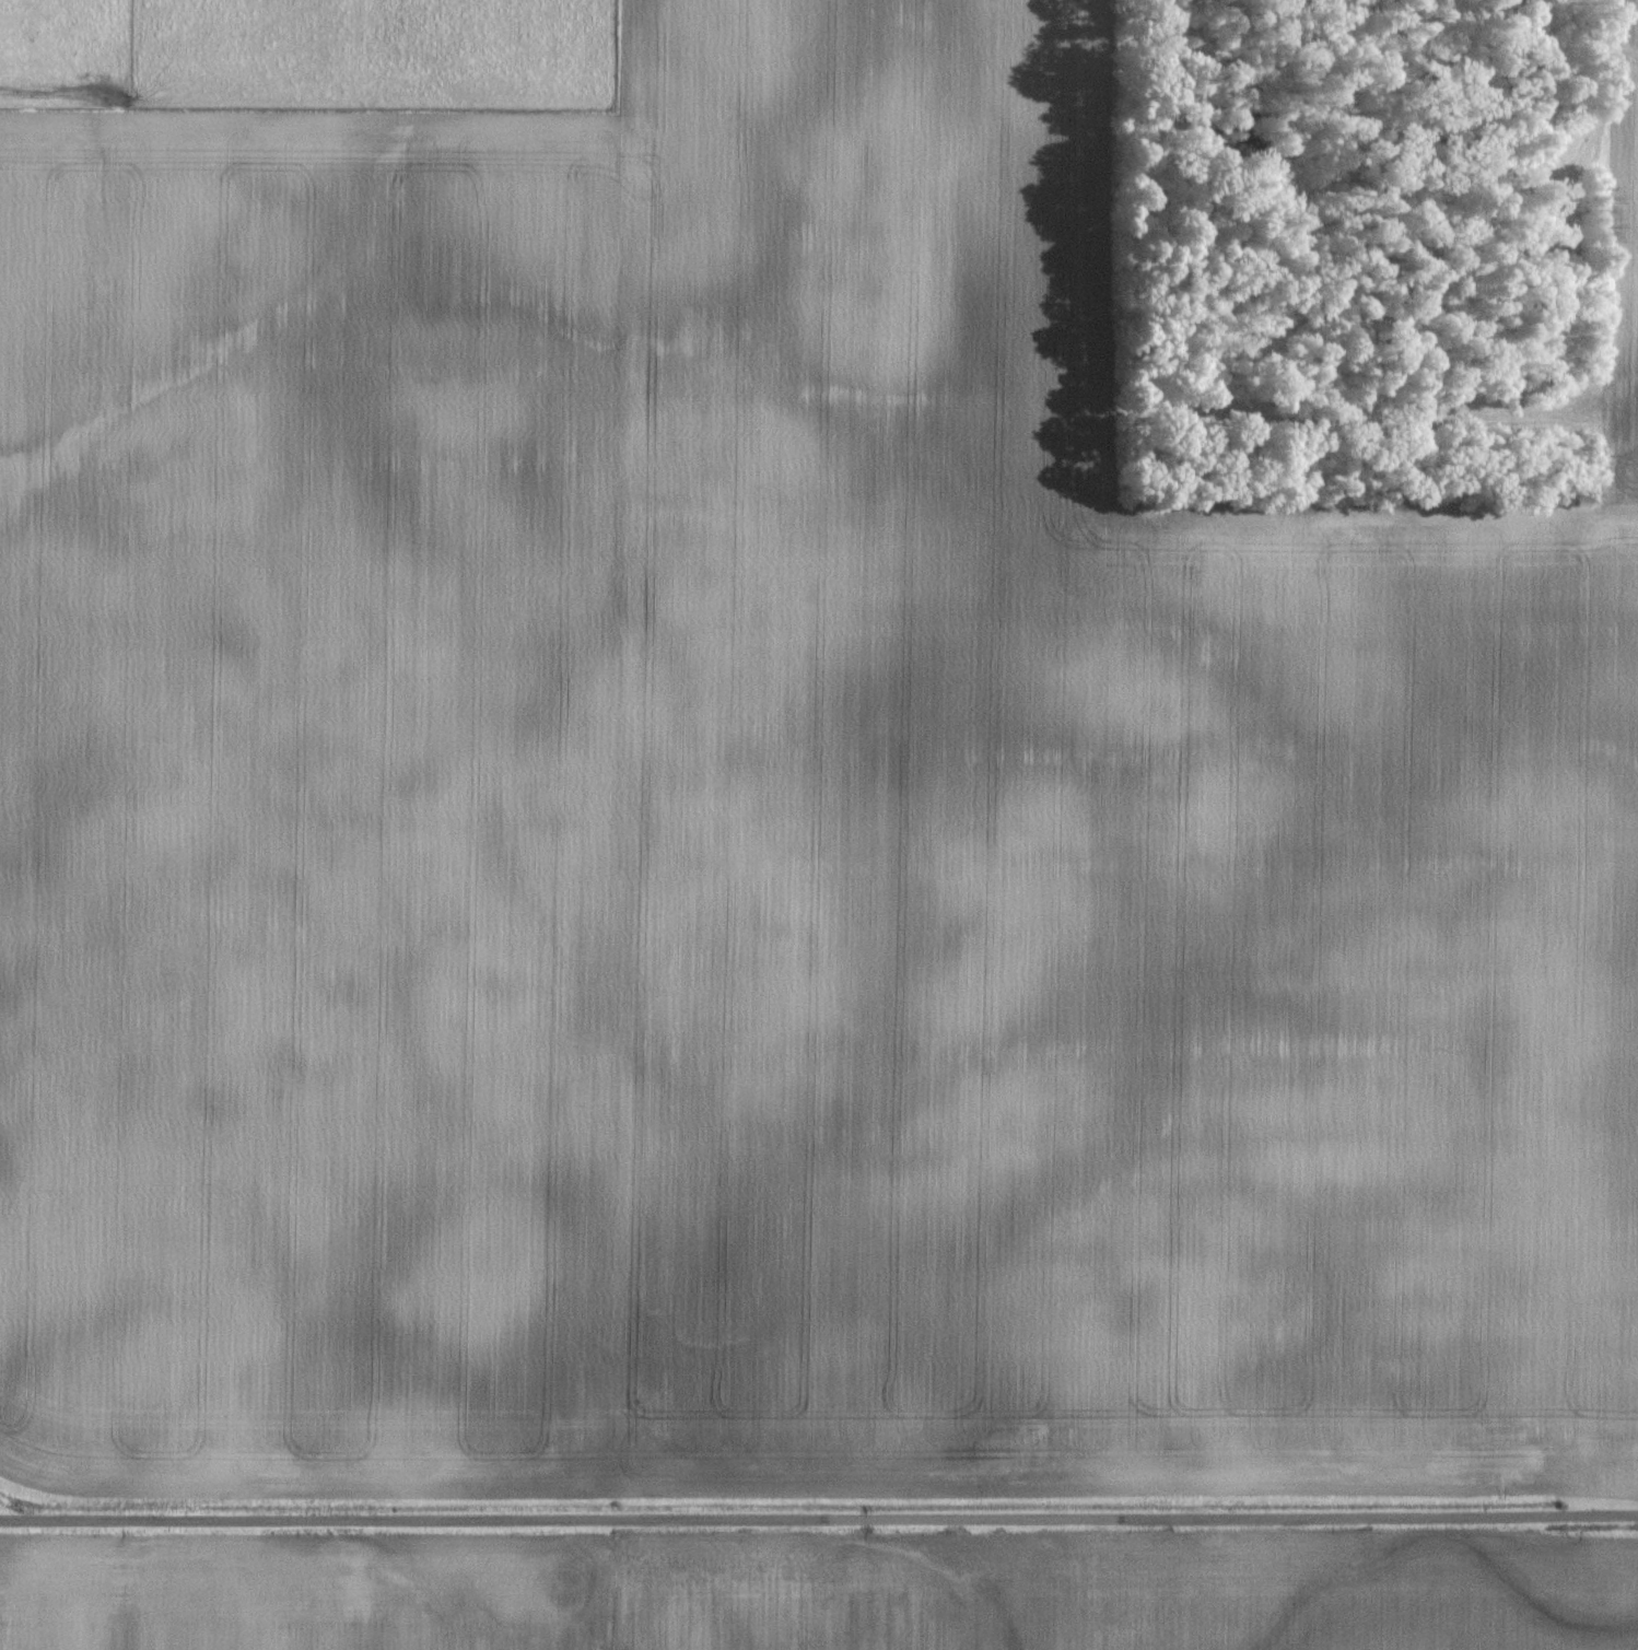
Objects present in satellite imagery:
road: (819, 1519)

